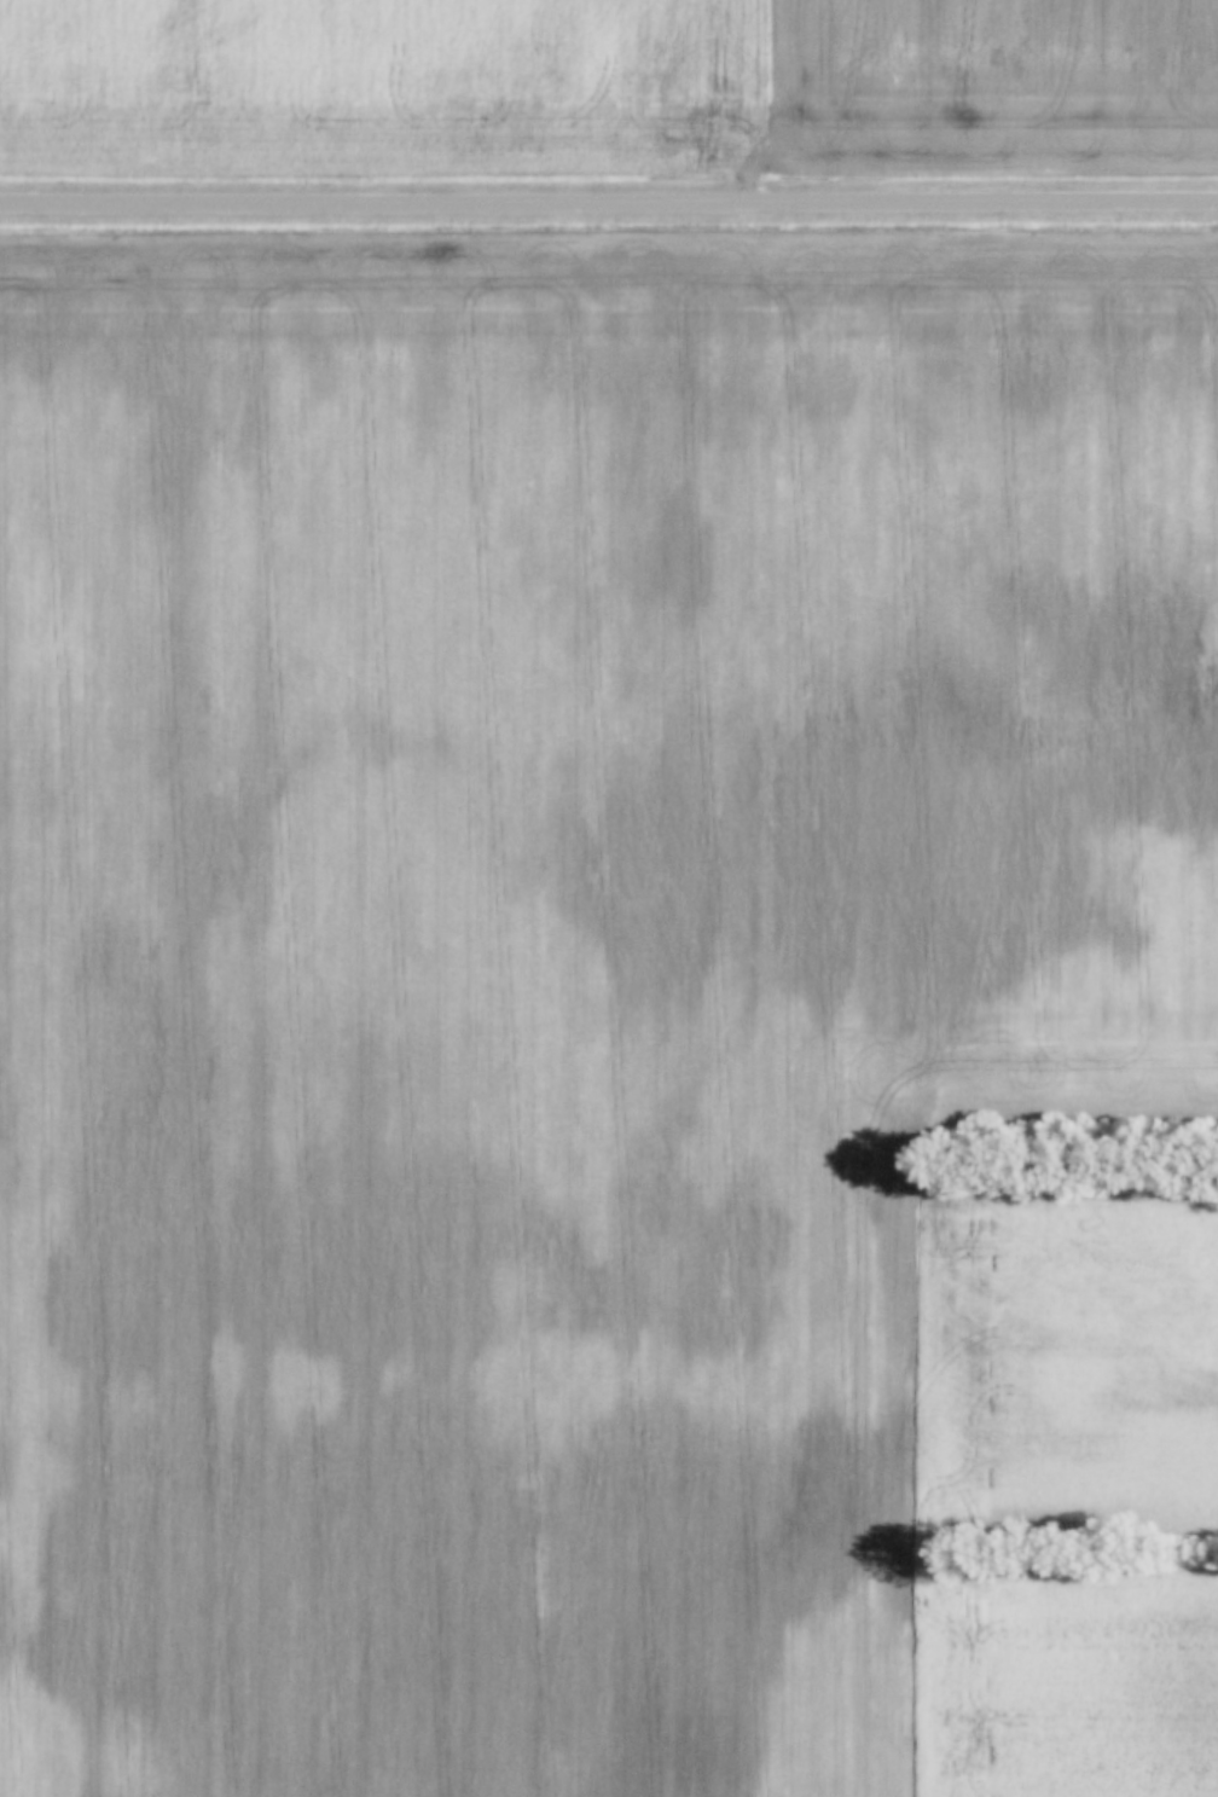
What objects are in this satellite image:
road: (609, 207)

